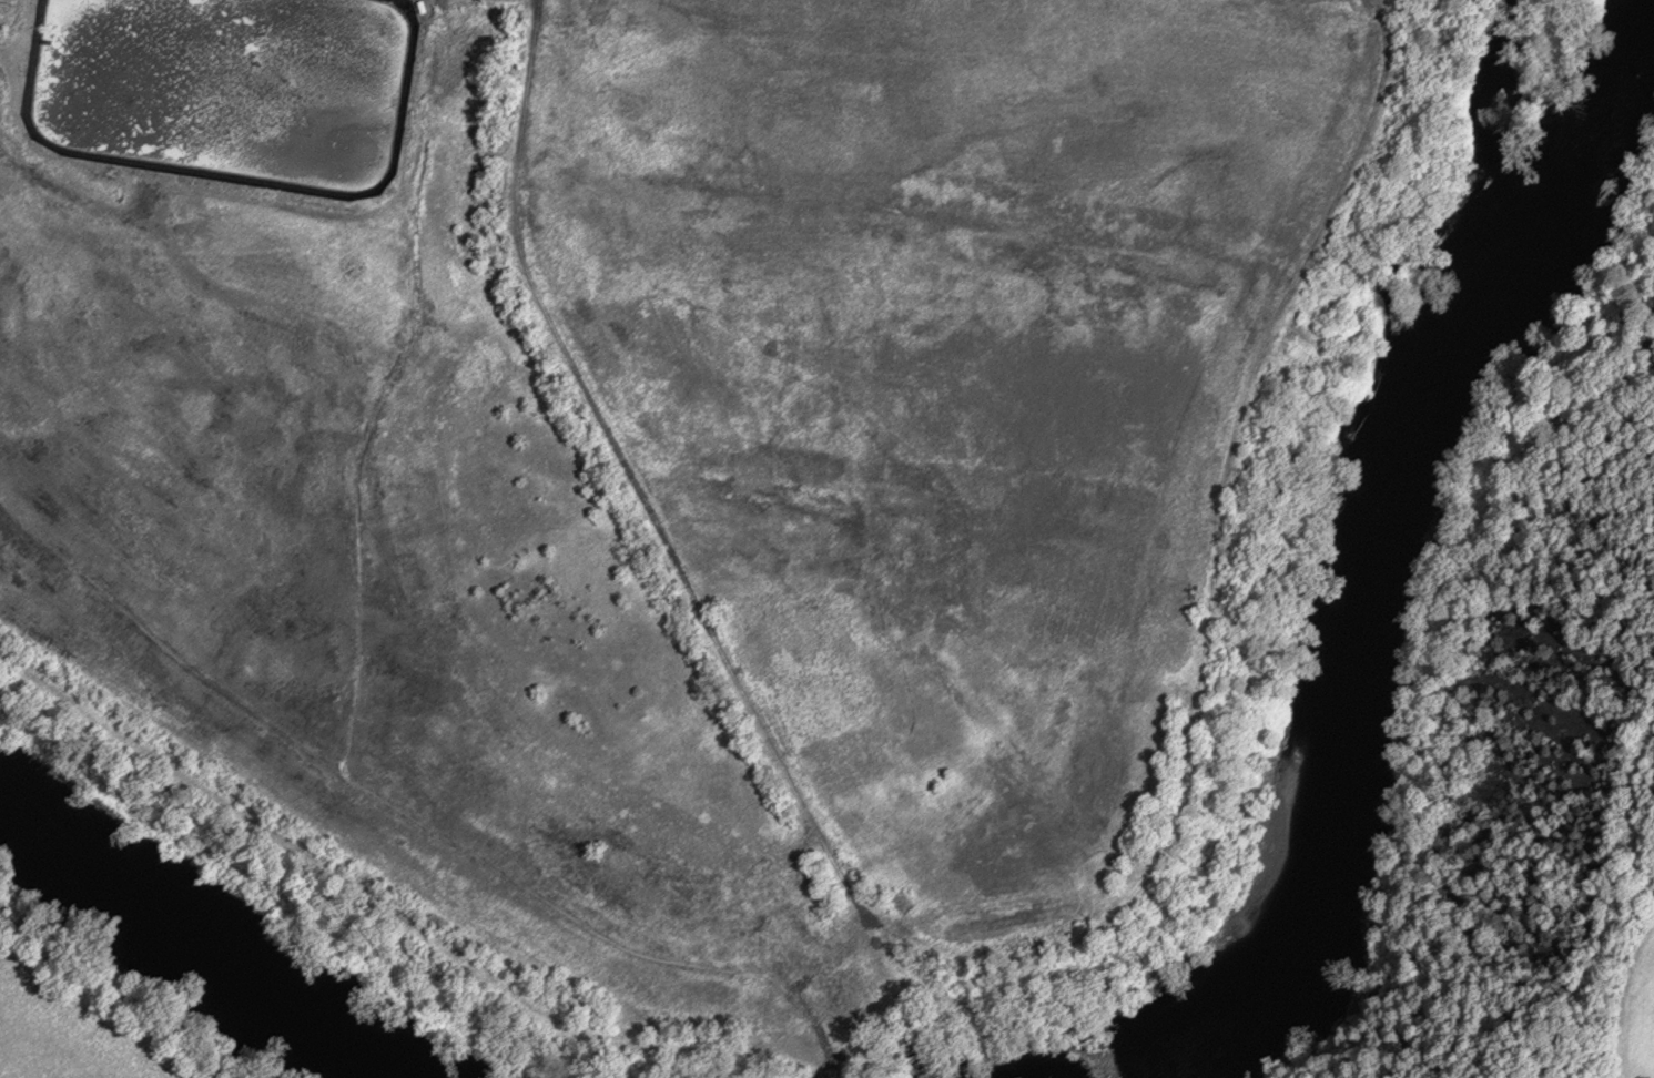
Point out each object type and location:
road: (628, 474)
wastewater plant: (693, 486)
river: (1382, 556)
river: (192, 943)
building: (902, 1044)

